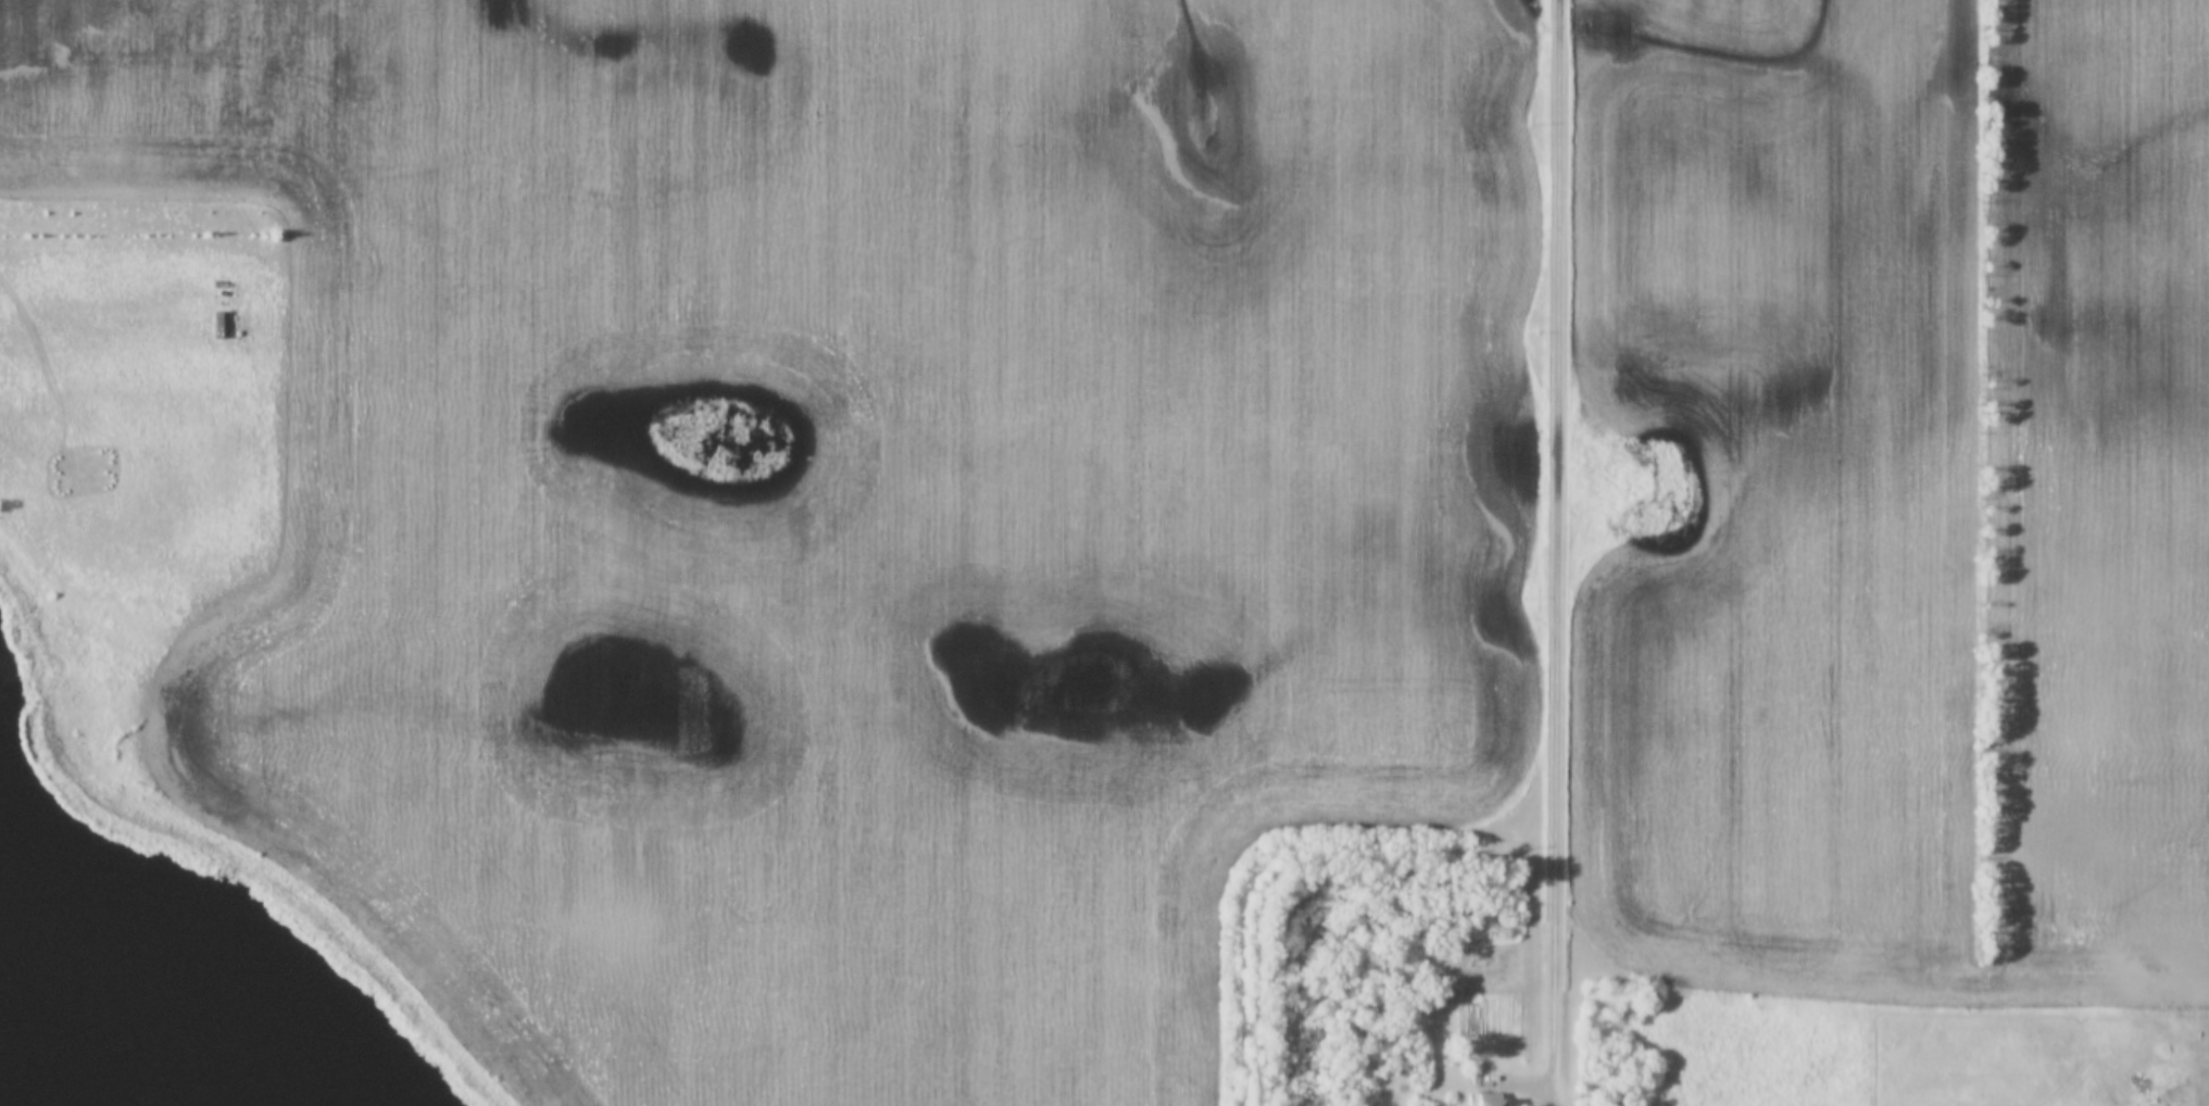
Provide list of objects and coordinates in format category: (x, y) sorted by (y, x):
building: (222, 323)
road: (1558, 553)
building: (1449, 1001)
building: (1495, 1099)

